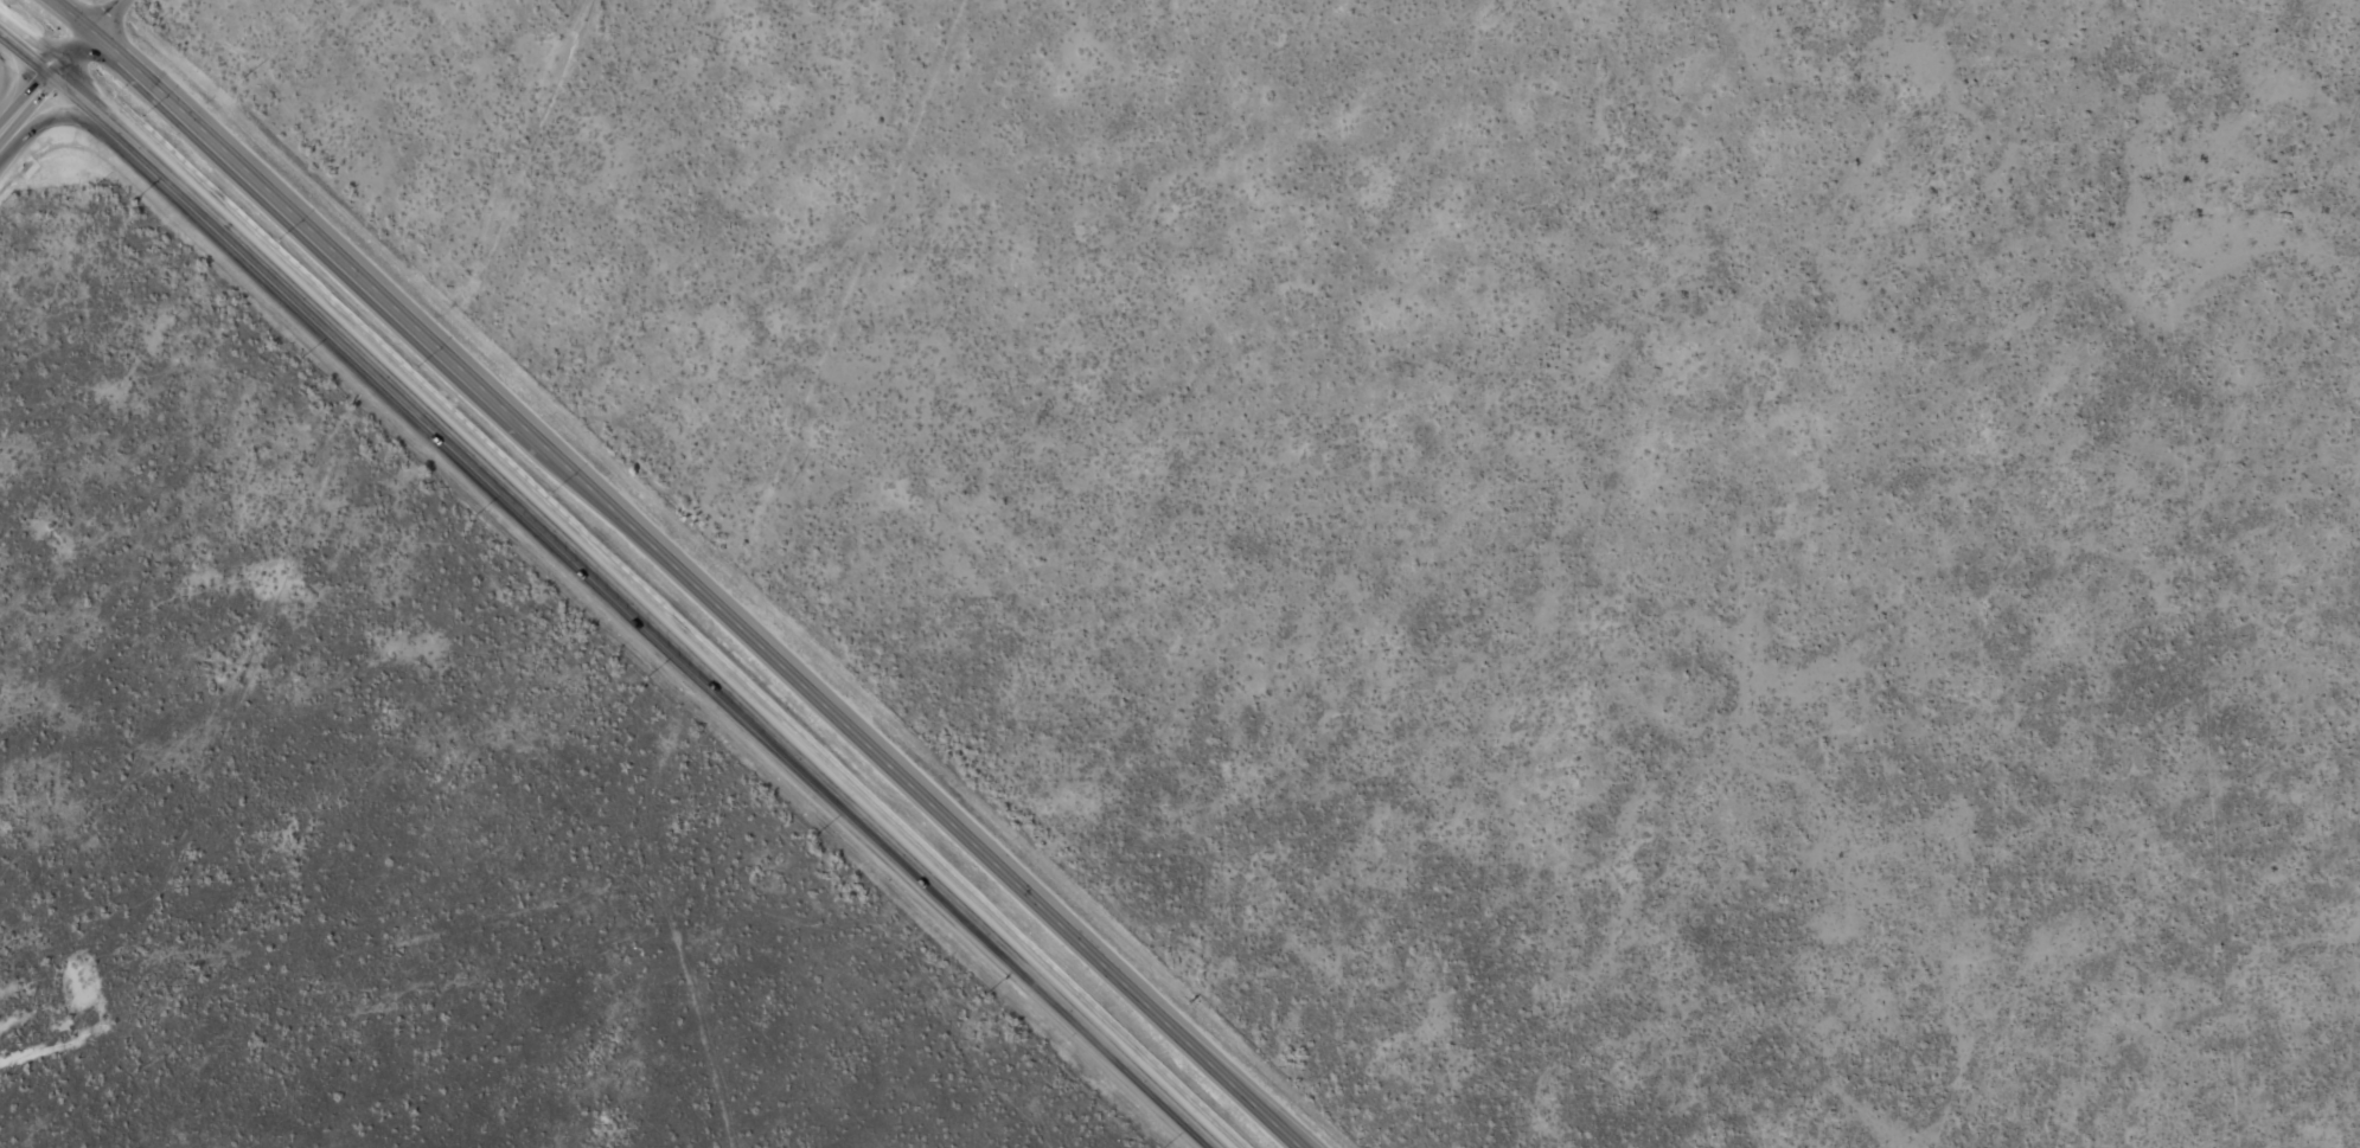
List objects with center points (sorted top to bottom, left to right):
road: (108, 15)
road: (72, 53)
road: (0, 88)
road: (26, 104)
road: (55, 118)
road: (684, 571)
road: (613, 584)

